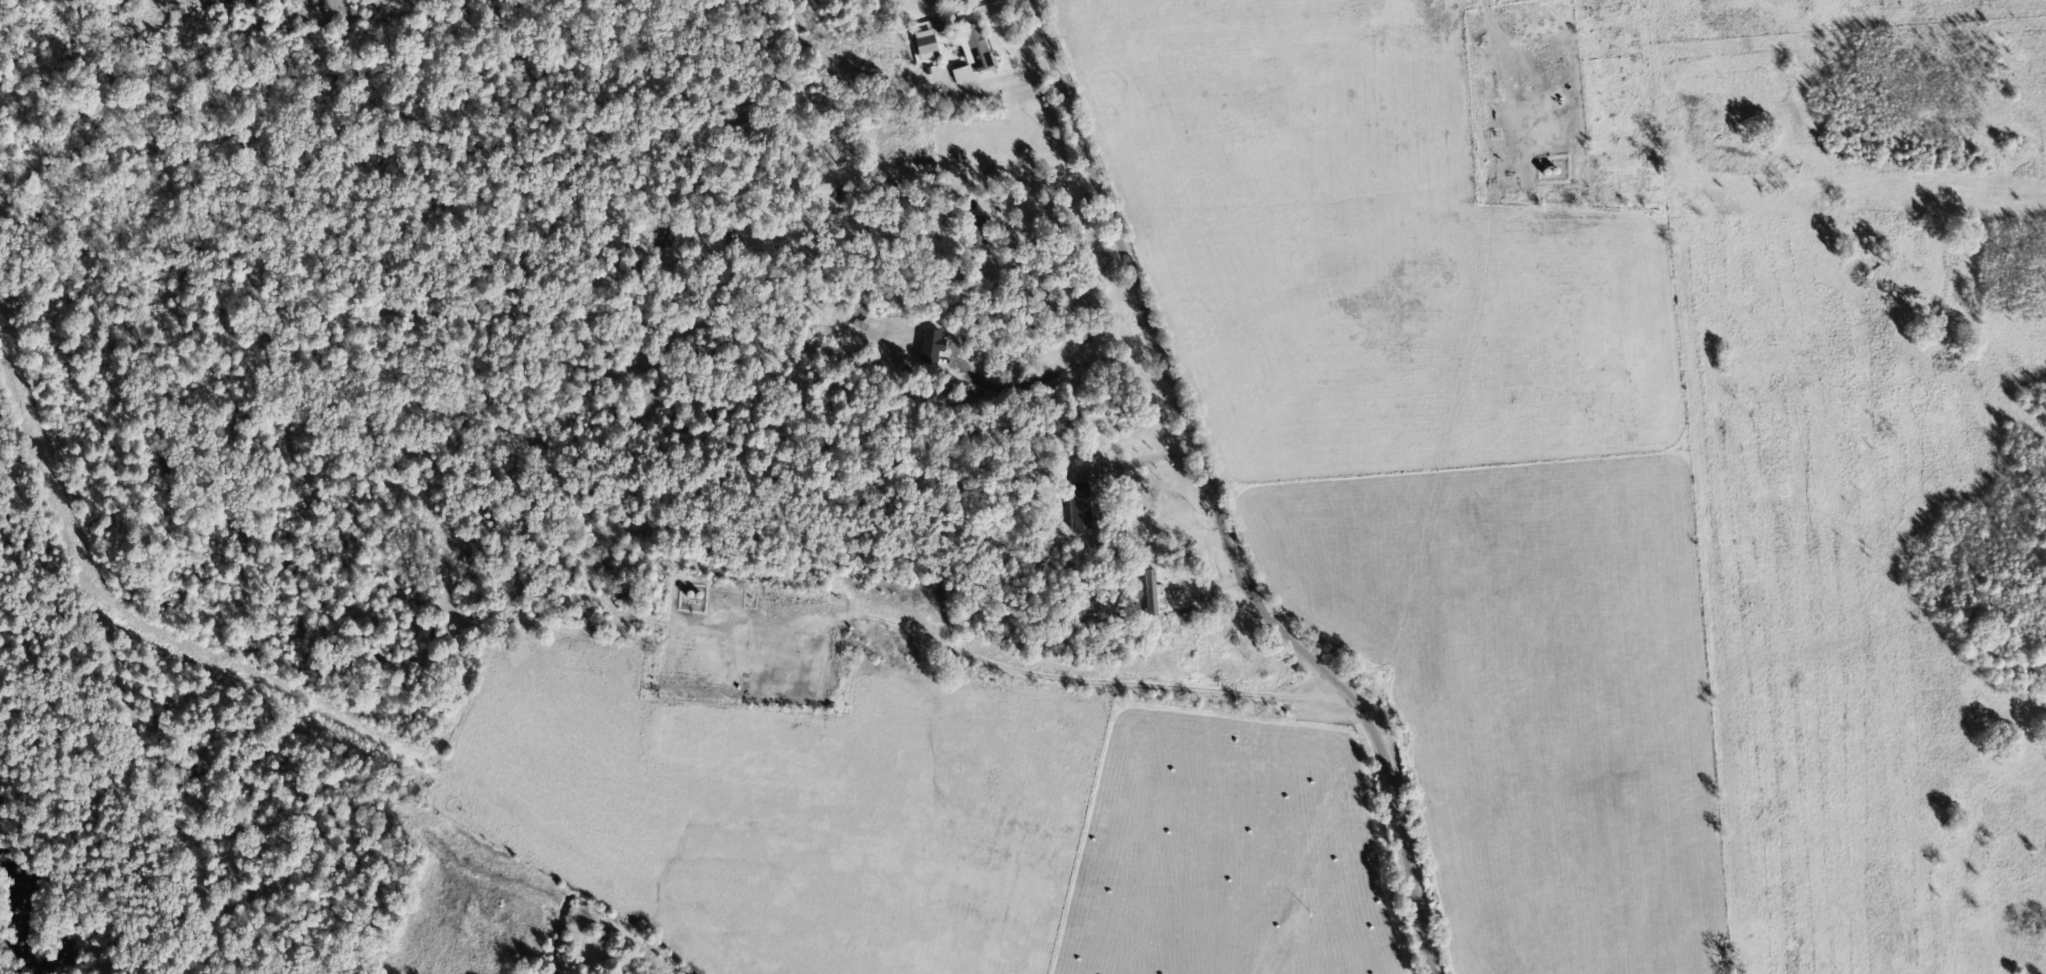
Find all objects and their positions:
building: (929, 45)
building: (979, 48)
building: (966, 74)
building: (935, 347)
road: (1239, 496)
building: (1084, 507)
building: (1155, 593)

